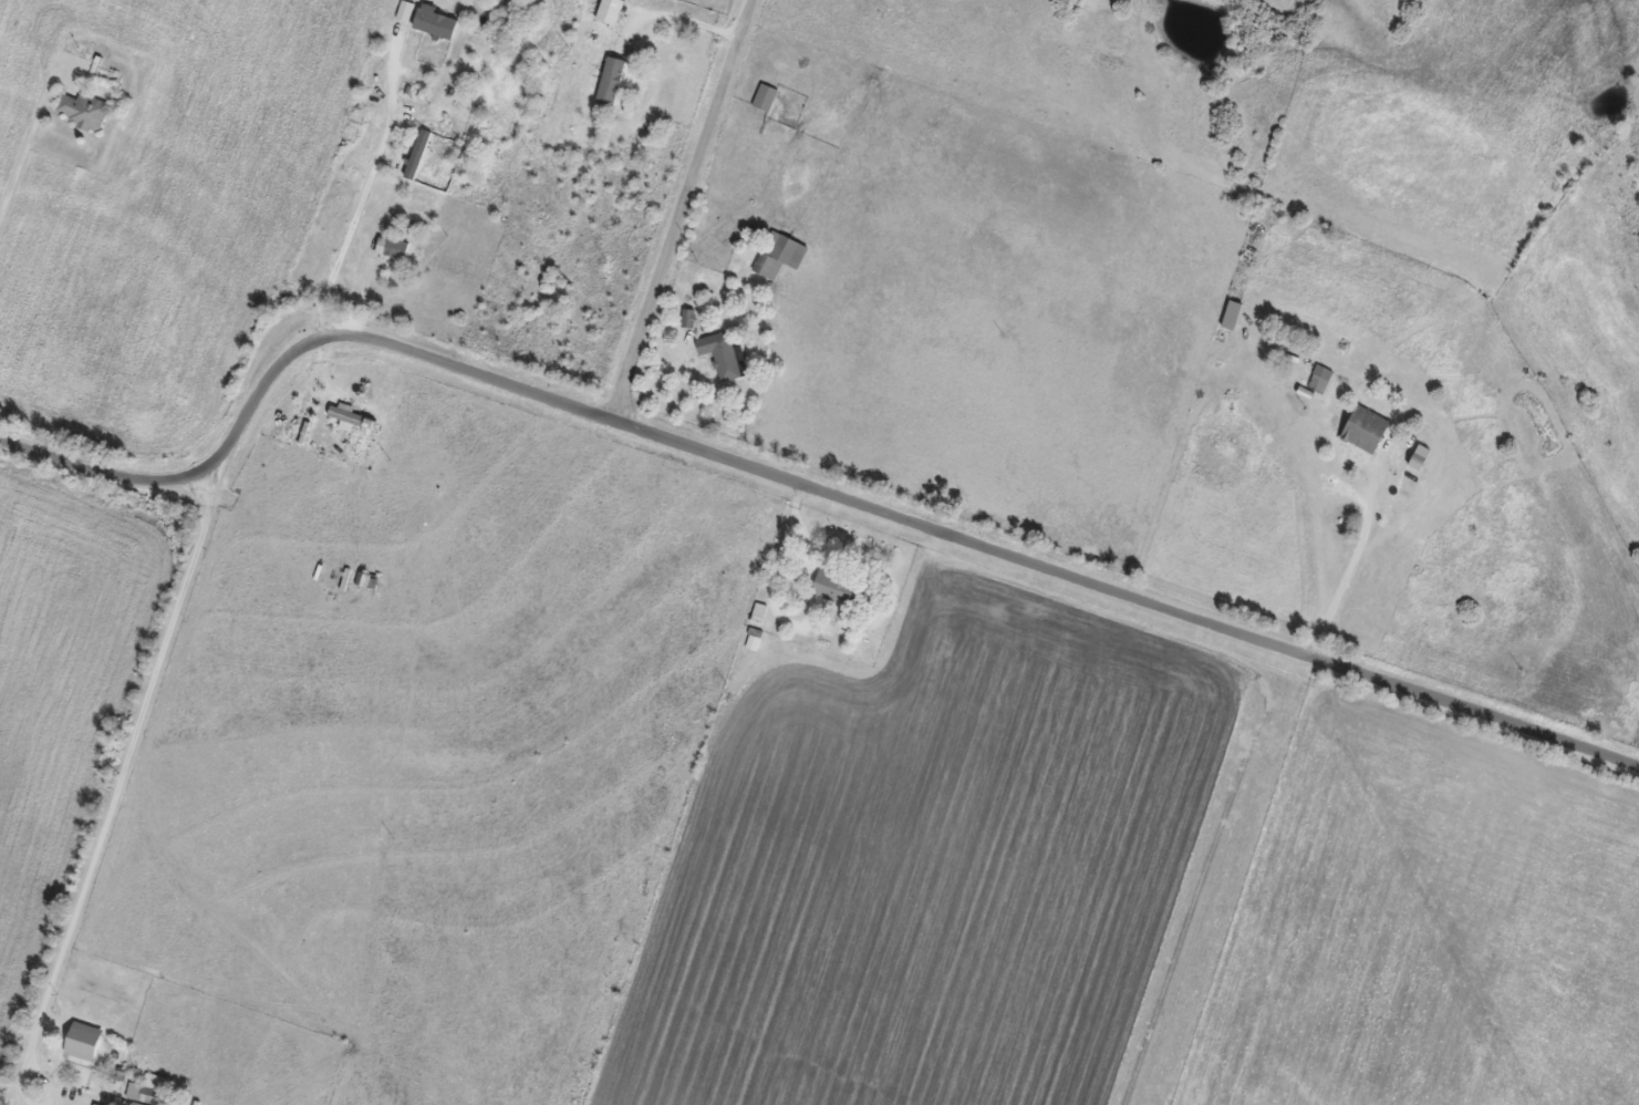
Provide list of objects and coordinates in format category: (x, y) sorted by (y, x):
building: (610, 11)
building: (611, 79)
building: (761, 96)
building: (83, 109)
building: (419, 148)
road: (686, 207)
building: (393, 246)
building: (777, 254)
building: (719, 354)
building: (1318, 380)
building: (347, 415)
building: (1362, 428)
road: (776, 471)
building: (361, 577)
building: (833, 588)
building: (84, 1053)
building: (151, 1088)

